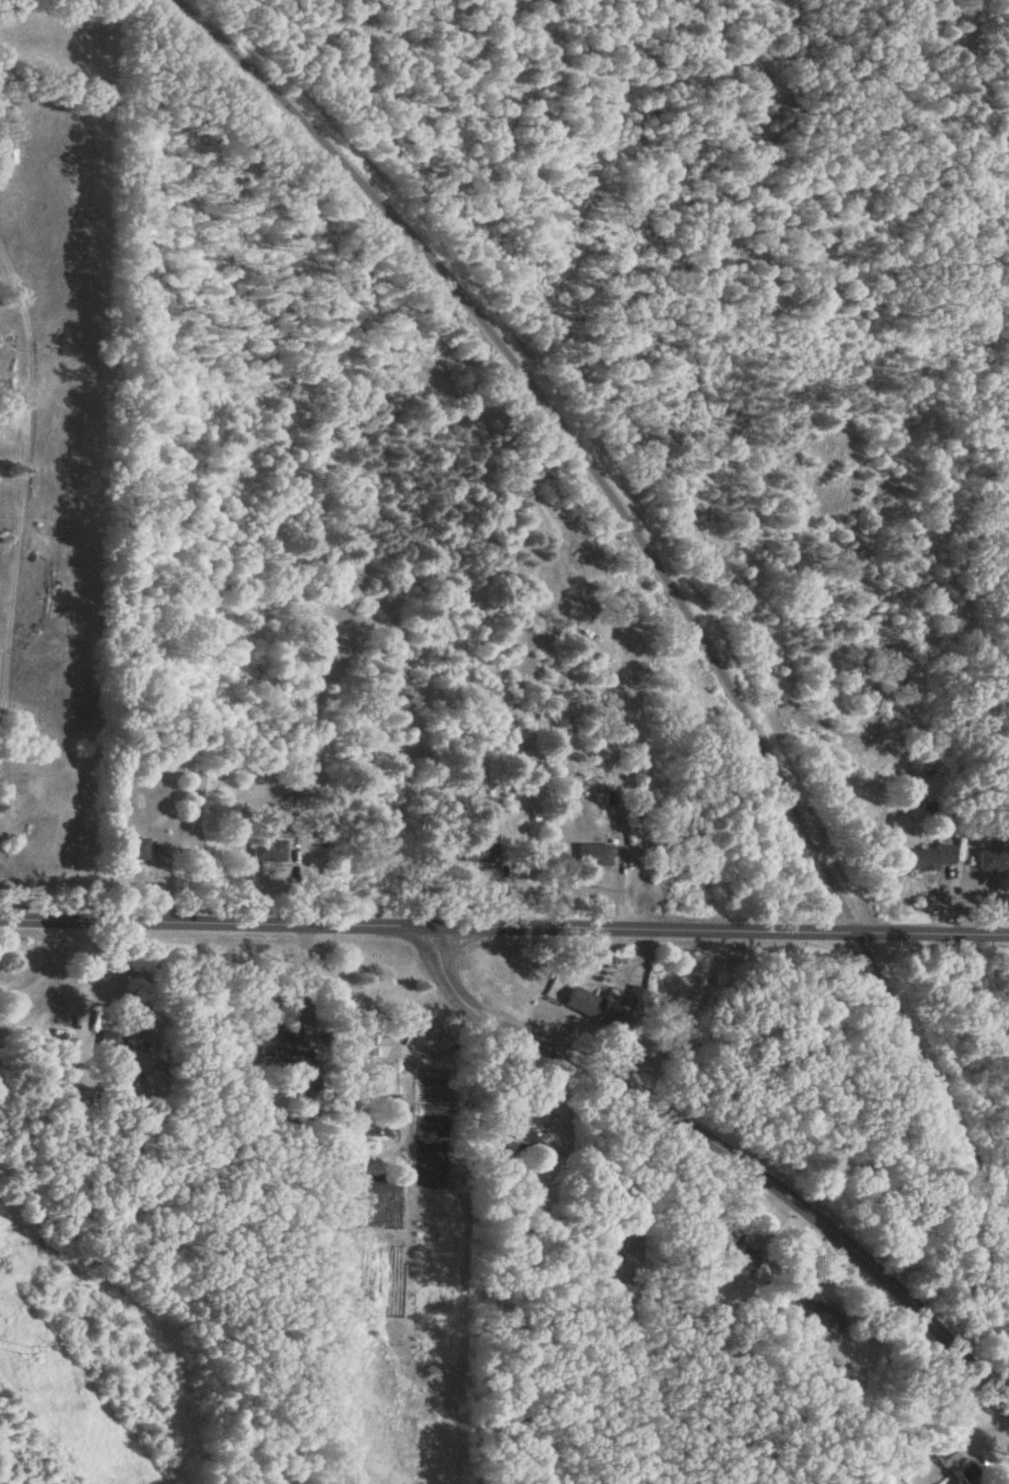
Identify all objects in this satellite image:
road: (657, 564)
building: (136, 852)
building: (268, 853)
building: (595, 857)
building: (931, 860)
building: (993, 863)
road: (2, 917)
road: (350, 928)
road: (780, 934)
road: (934, 936)
road: (42, 969)
building: (606, 1005)
road: (448, 1043)
road: (405, 1049)
building: (507, 1114)
road: (726, 1154)
building: (818, 1316)
power tower: (22, 1347)
building: (953, 1467)

